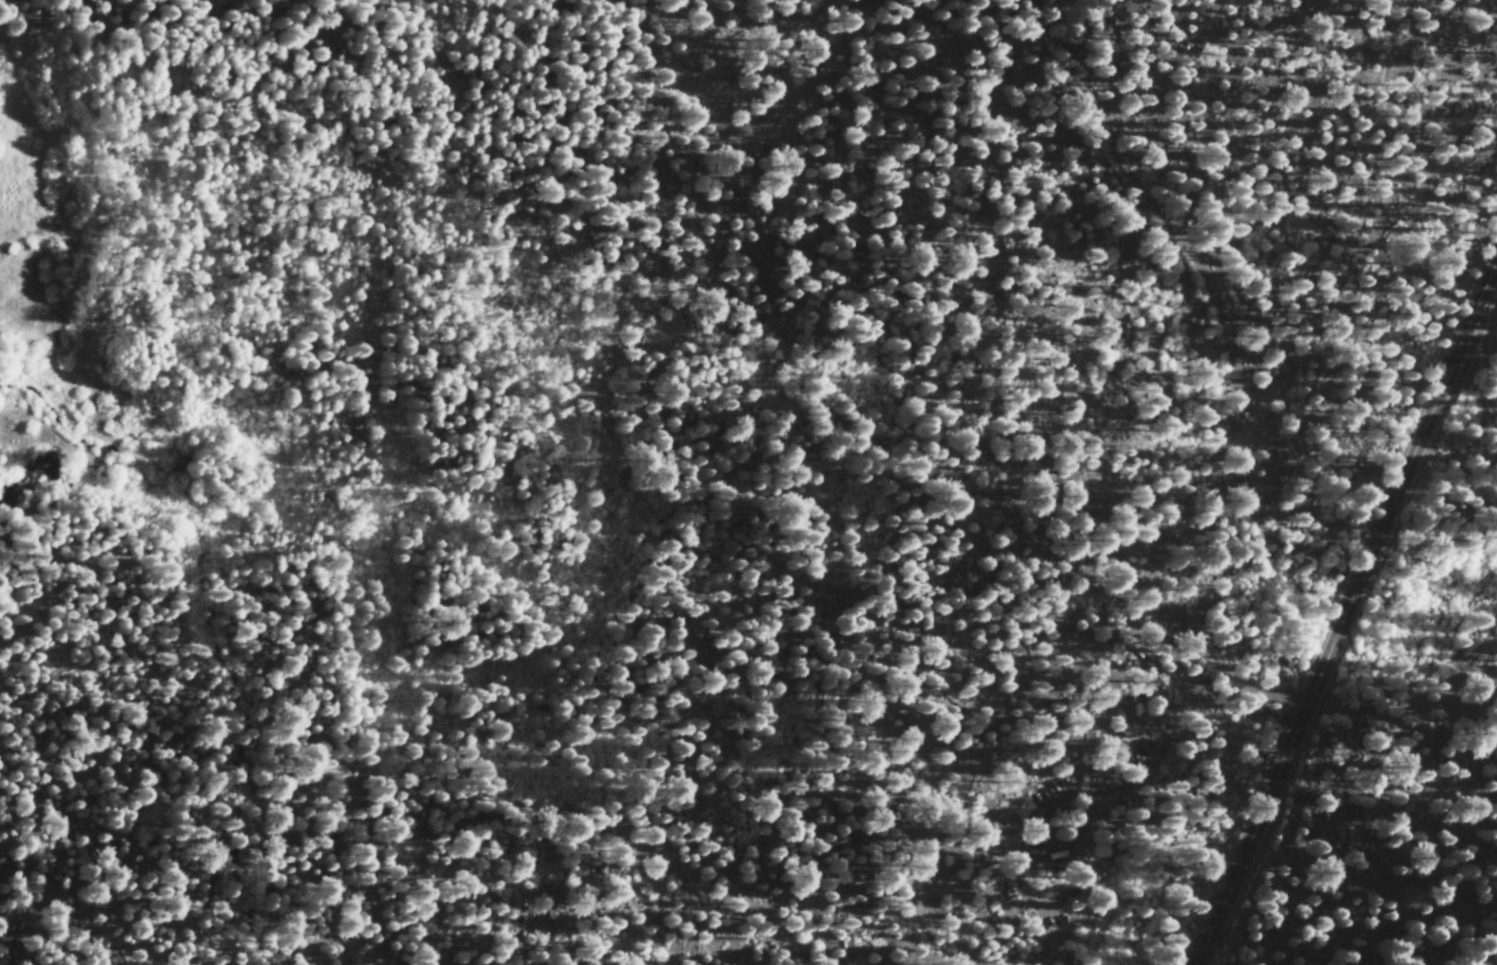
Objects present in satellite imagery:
road: (1159, 215)
road: (1353, 249)
road: (1399, 479)
road: (1175, 509)
road: (1220, 670)
road: (1161, 698)
building: (1127, 728)
road: (1024, 822)
parking lot: (1078, 823)
road: (1249, 835)
road: (1076, 838)
road: (1053, 936)

